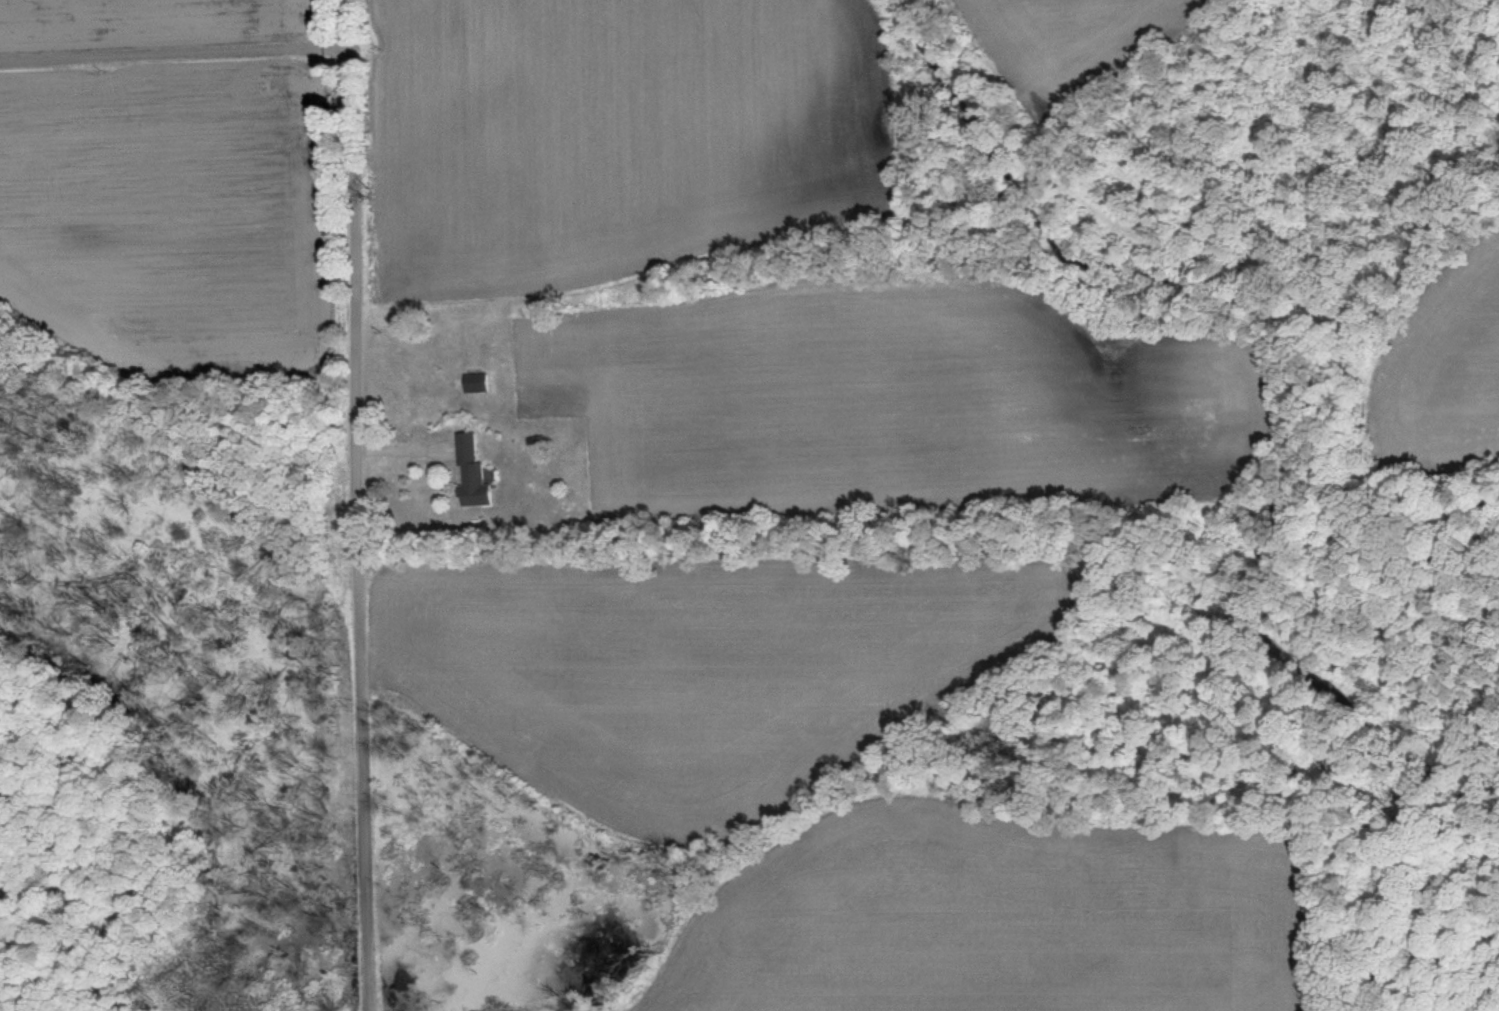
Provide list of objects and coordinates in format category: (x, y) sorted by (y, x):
road: (175, 53)
building: (476, 385)
building: (473, 475)
road: (354, 505)
crop: (1, 1010)

